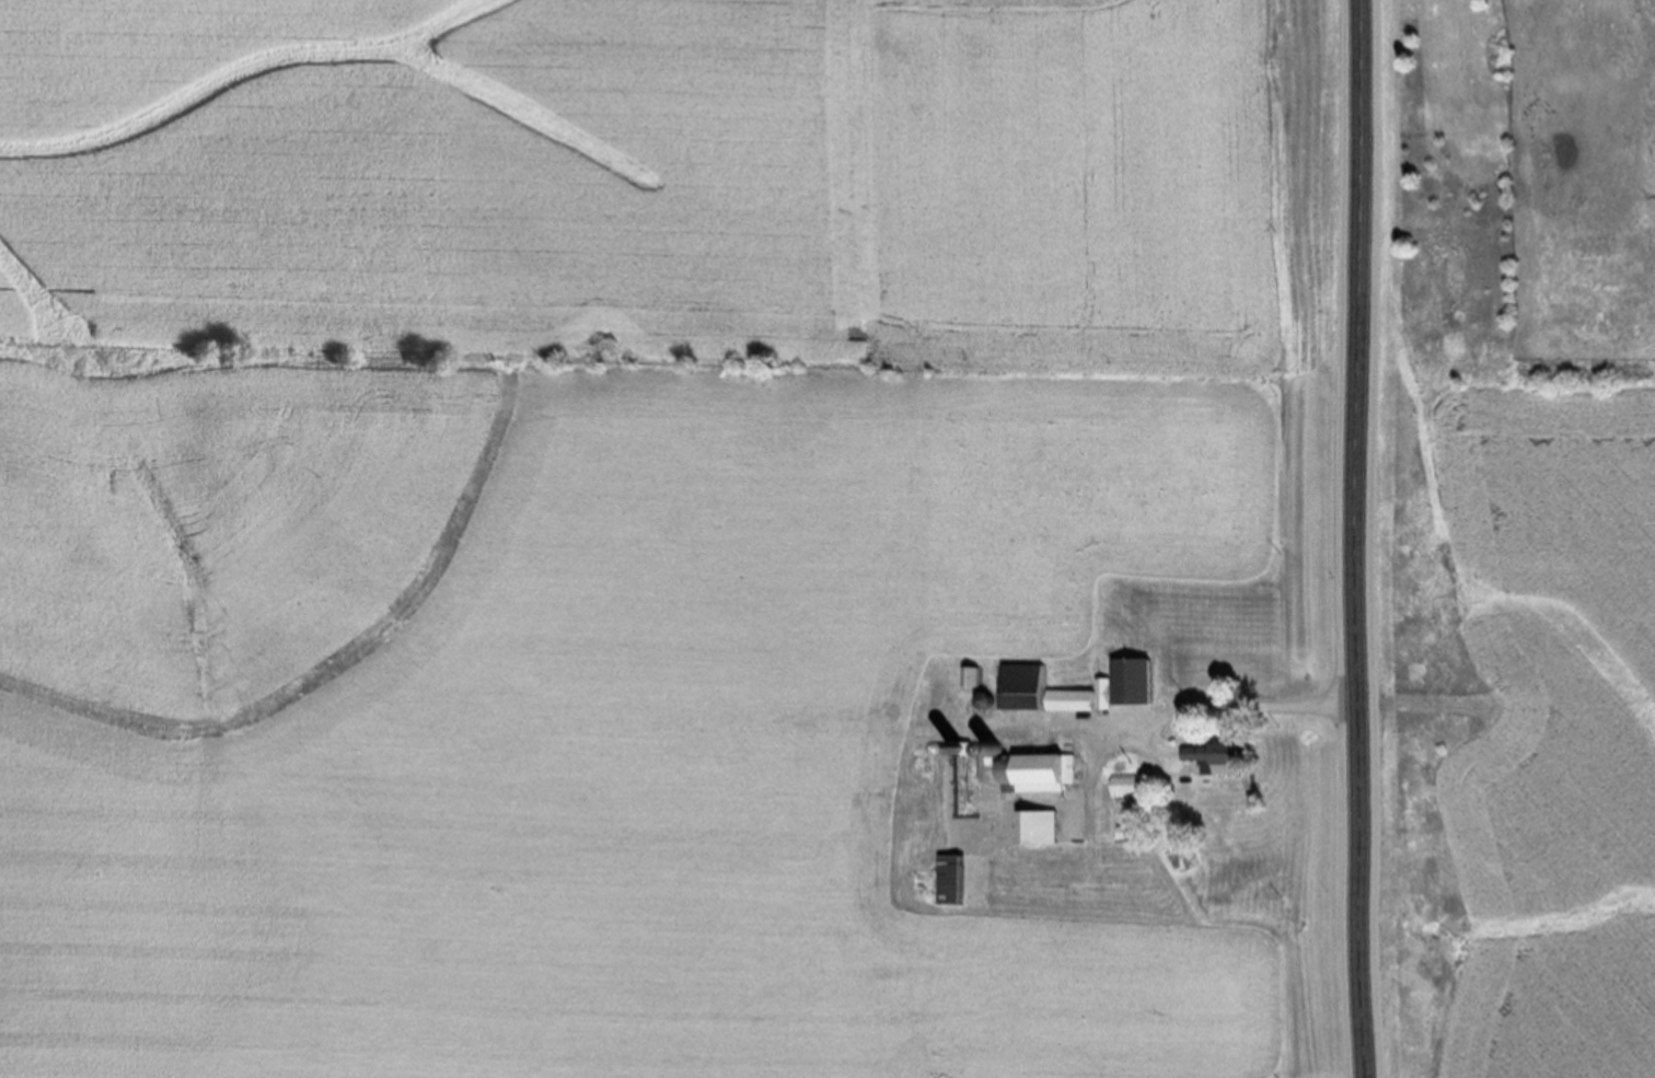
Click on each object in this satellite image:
road: (1362, 538)
building: (974, 674)
building: (1129, 682)
building: (1041, 687)
road: (1149, 720)
building: (1217, 754)
building: (1035, 769)
building: (1131, 783)
building: (1041, 824)
building: (958, 878)

